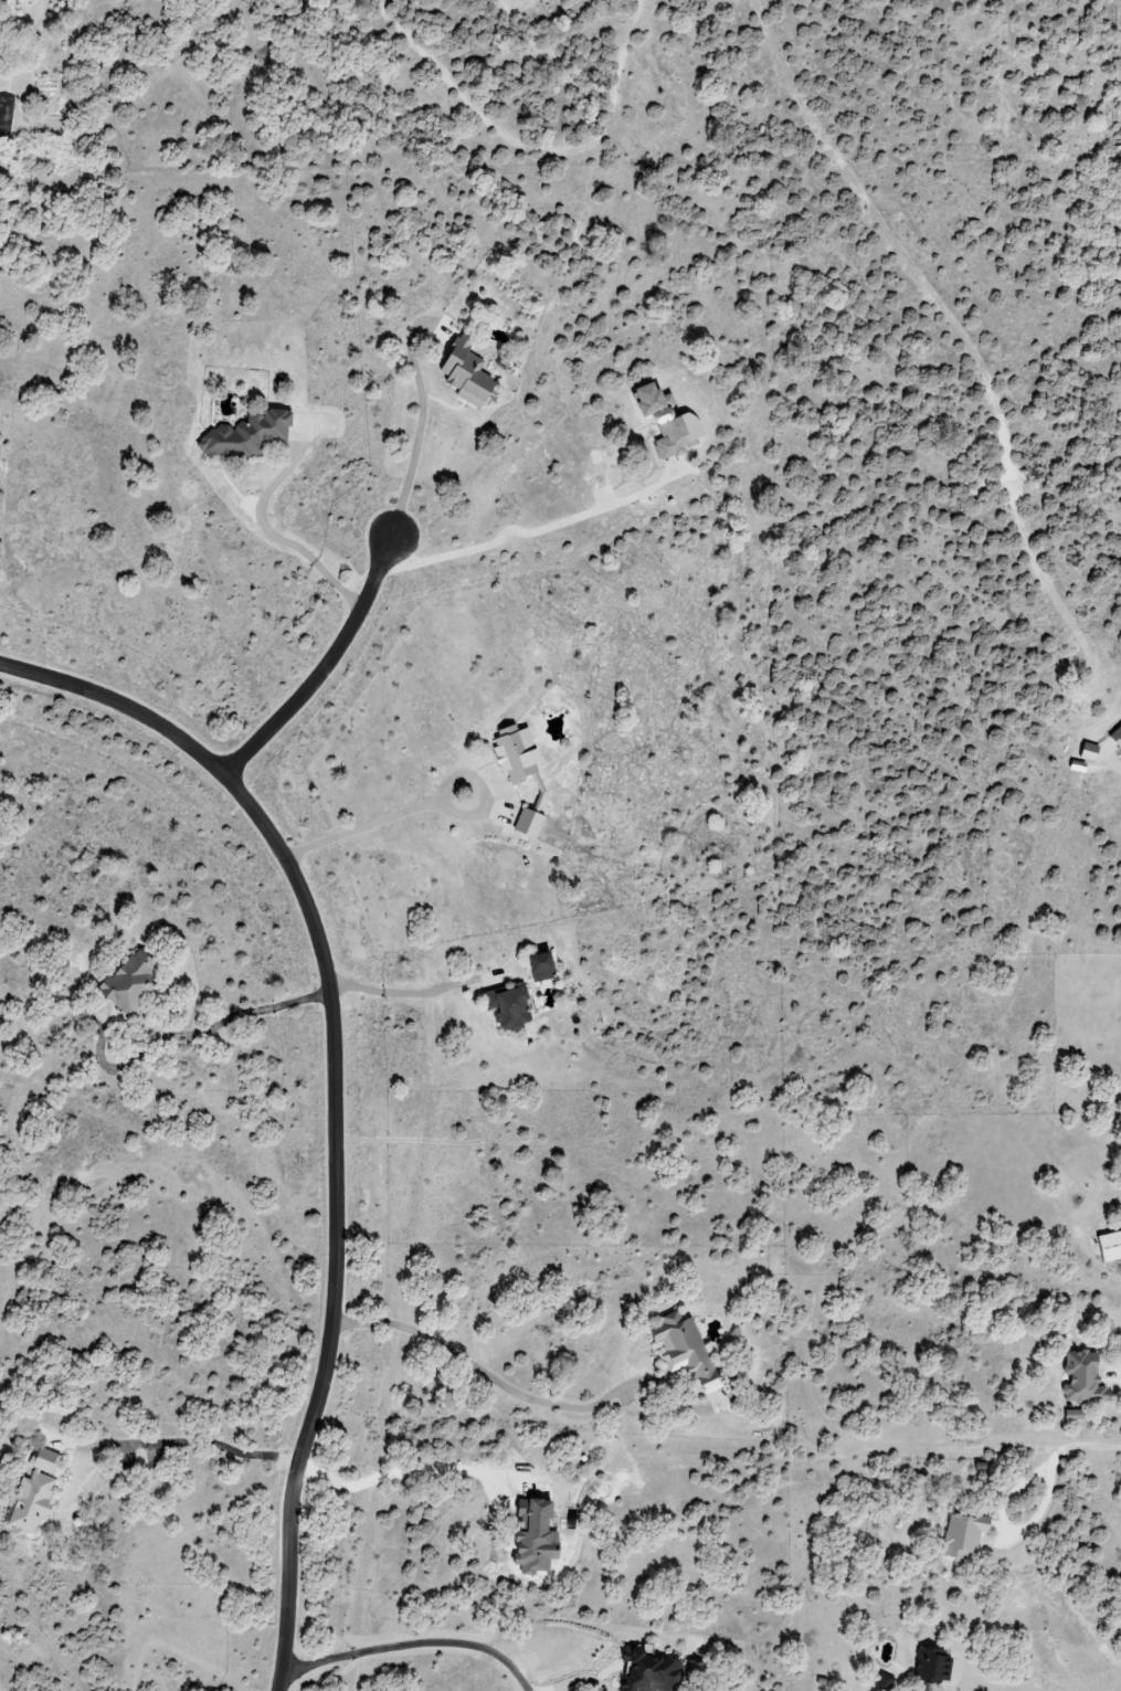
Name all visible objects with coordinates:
building: (12, 0)
building: (469, 373)
building: (671, 423)
building: (250, 435)
road: (408, 465)
road: (537, 527)
road: (306, 556)
road: (325, 666)
building: (1118, 736)
building: (1091, 752)
building: (520, 753)
road: (457, 774)
building: (531, 822)
road: (360, 825)
building: (546, 966)
building: (136, 981)
road: (355, 985)
road: (434, 990)
road: (300, 997)
building: (512, 1006)
road: (173, 1037)
road: (332, 1095)
building: (1112, 1246)
building: (688, 1349)
road: (480, 1373)
building: (1085, 1377)
building: (1076, 1415)
road: (1077, 1440)
road: (194, 1444)
building: (36, 1498)
building: (537, 1535)
building: (964, 1535)
road: (411, 1647)
building: (934, 1667)
building: (654, 1671)
building: (885, 1682)

